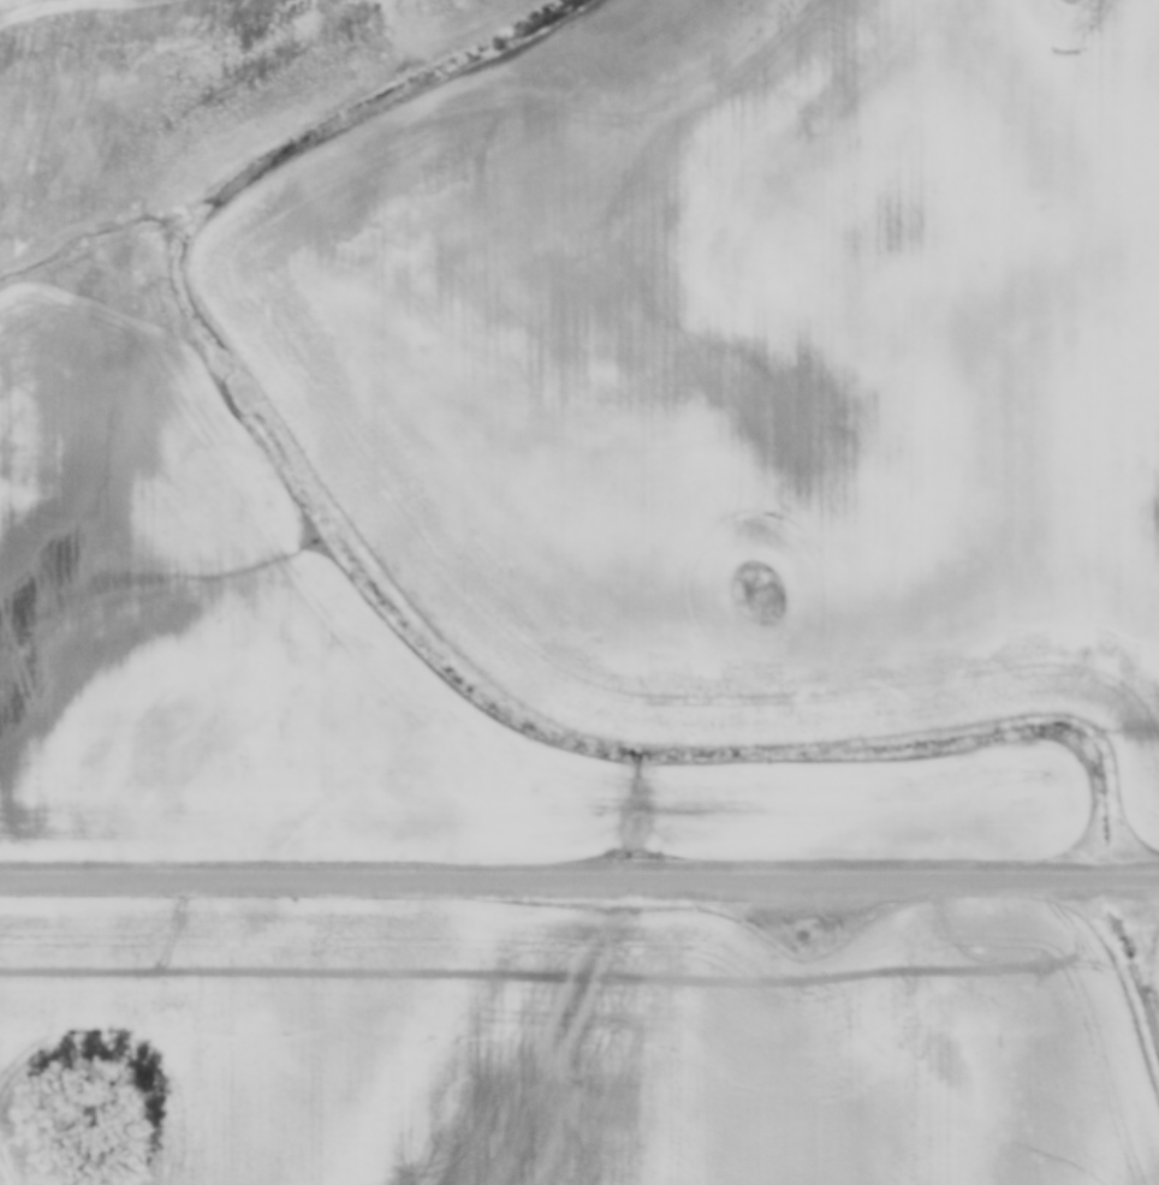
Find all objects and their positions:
road: (579, 879)

